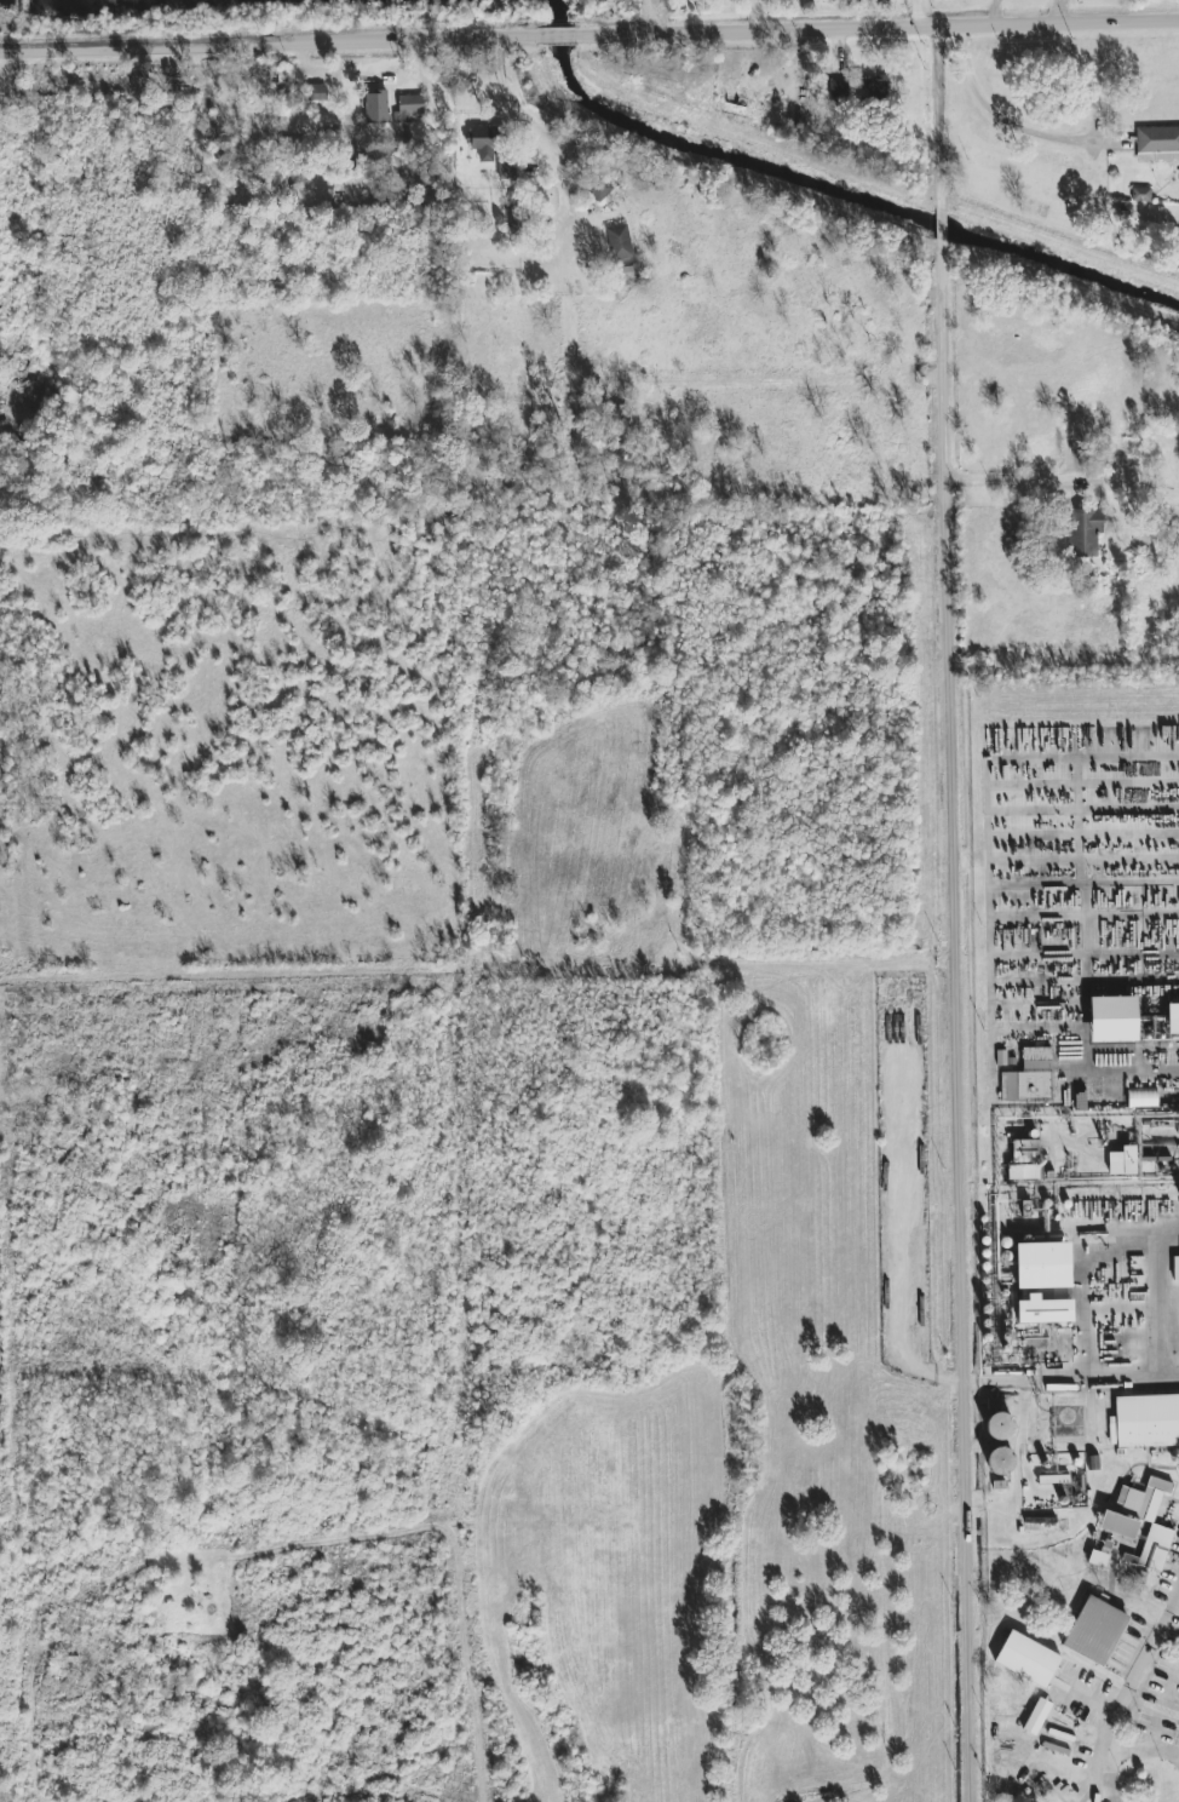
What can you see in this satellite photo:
road: (761, 13)
road: (880, 28)
road: (560, 36)
road: (268, 39)
building: (875, 88)
building: (838, 90)
building: (375, 101)
road: (936, 101)
building: (412, 108)
road: (697, 125)
road: (1024, 125)
building: (482, 143)
building: (1158, 143)
building: (507, 170)
road: (939, 231)
building: (620, 242)
building: (629, 275)
road: (589, 371)
road: (1063, 481)
building: (1085, 532)
building: (1114, 1020)
building: (1173, 1021)
road: (962, 1027)
building: (1152, 1028)
building: (1030, 1078)
building: (1143, 1097)
building: (1025, 1160)
building: (1123, 1161)
road: (1080, 1259)
building: (1043, 1266)
building: (1175, 1268)
road: (1160, 1309)
building: (1043, 1310)
road: (1131, 1373)
road: (1025, 1375)
building: (1145, 1422)
building: (999, 1427)
building: (1000, 1460)
building: (1134, 1509)
building: (1154, 1549)
building: (1095, 1631)
building: (1028, 1659)
road: (1125, 1699)
building: (1037, 1716)

